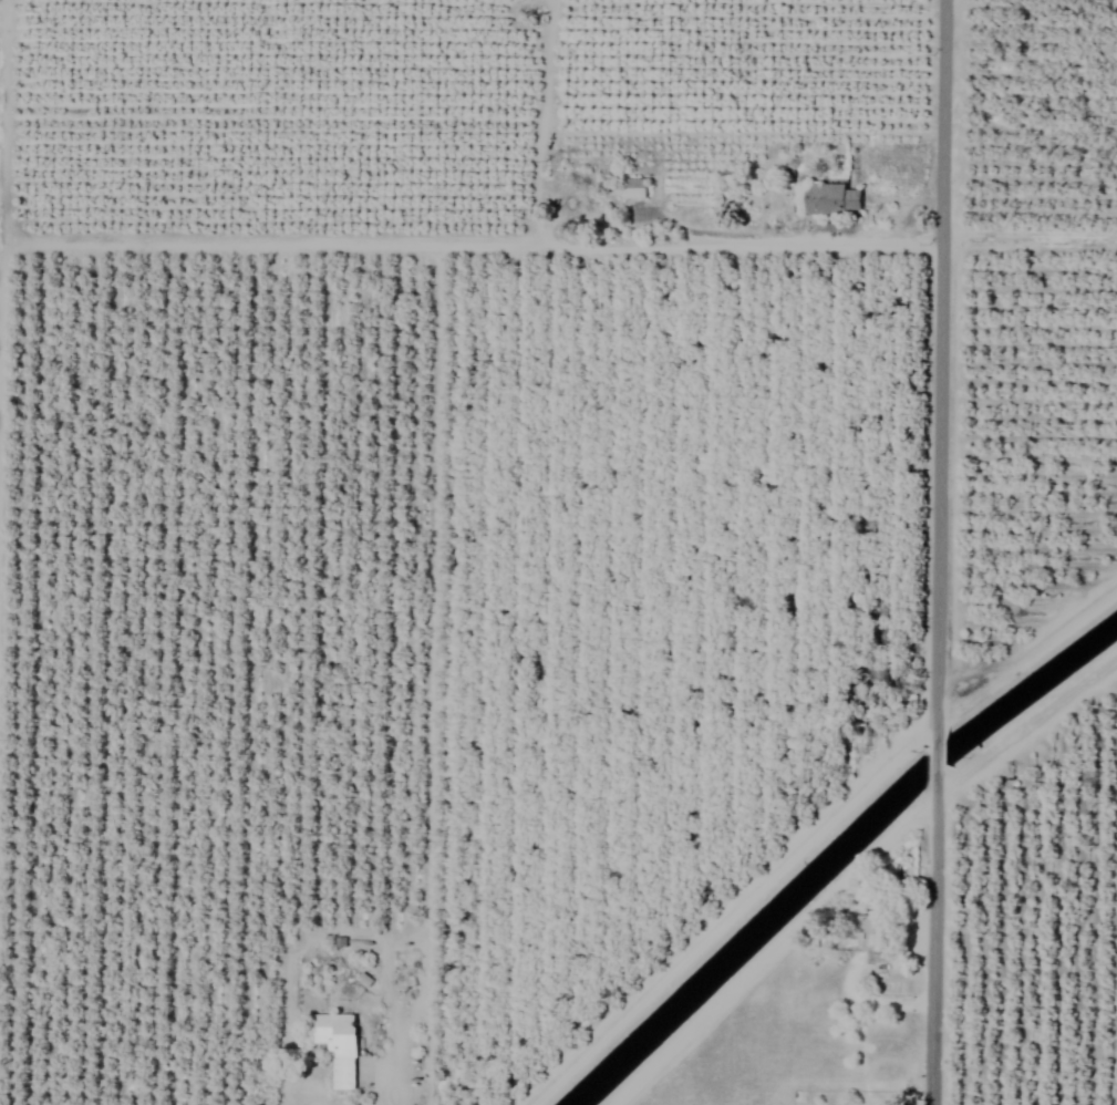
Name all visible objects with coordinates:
building: (633, 188)
building: (831, 199)
road: (914, 204)
road: (1030, 235)
road: (756, 247)
road: (939, 551)
crop: (558, 552)
road: (1026, 727)
building: (871, 926)
building: (337, 1046)

